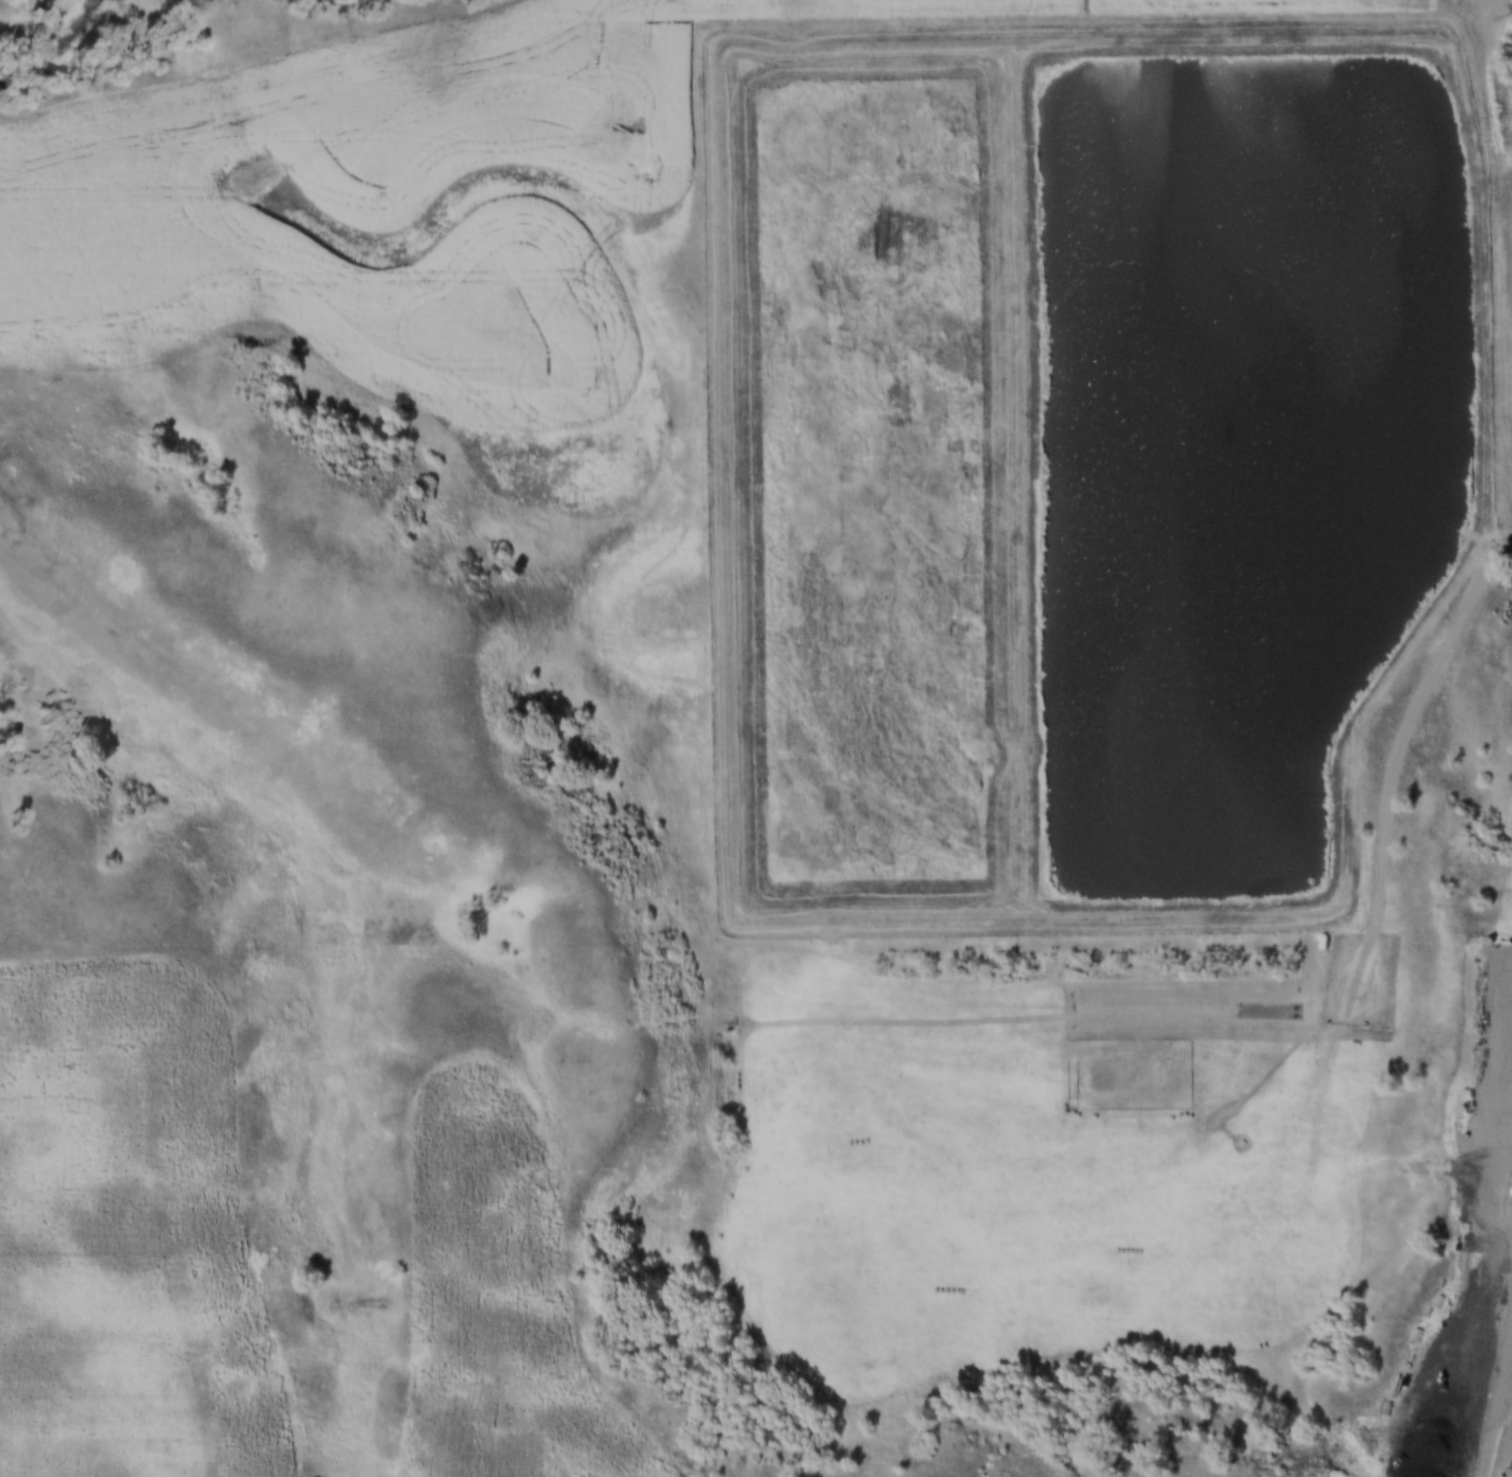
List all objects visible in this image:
road: (1471, 6)
road: (1142, 14)
road: (318, 55)
road: (1395, 773)
park: (1259, 1102)
building: (1240, 1141)
building: (1508, 1192)
silo: (1508, 1192)
crop: (503, 1302)
road: (1502, 1429)

